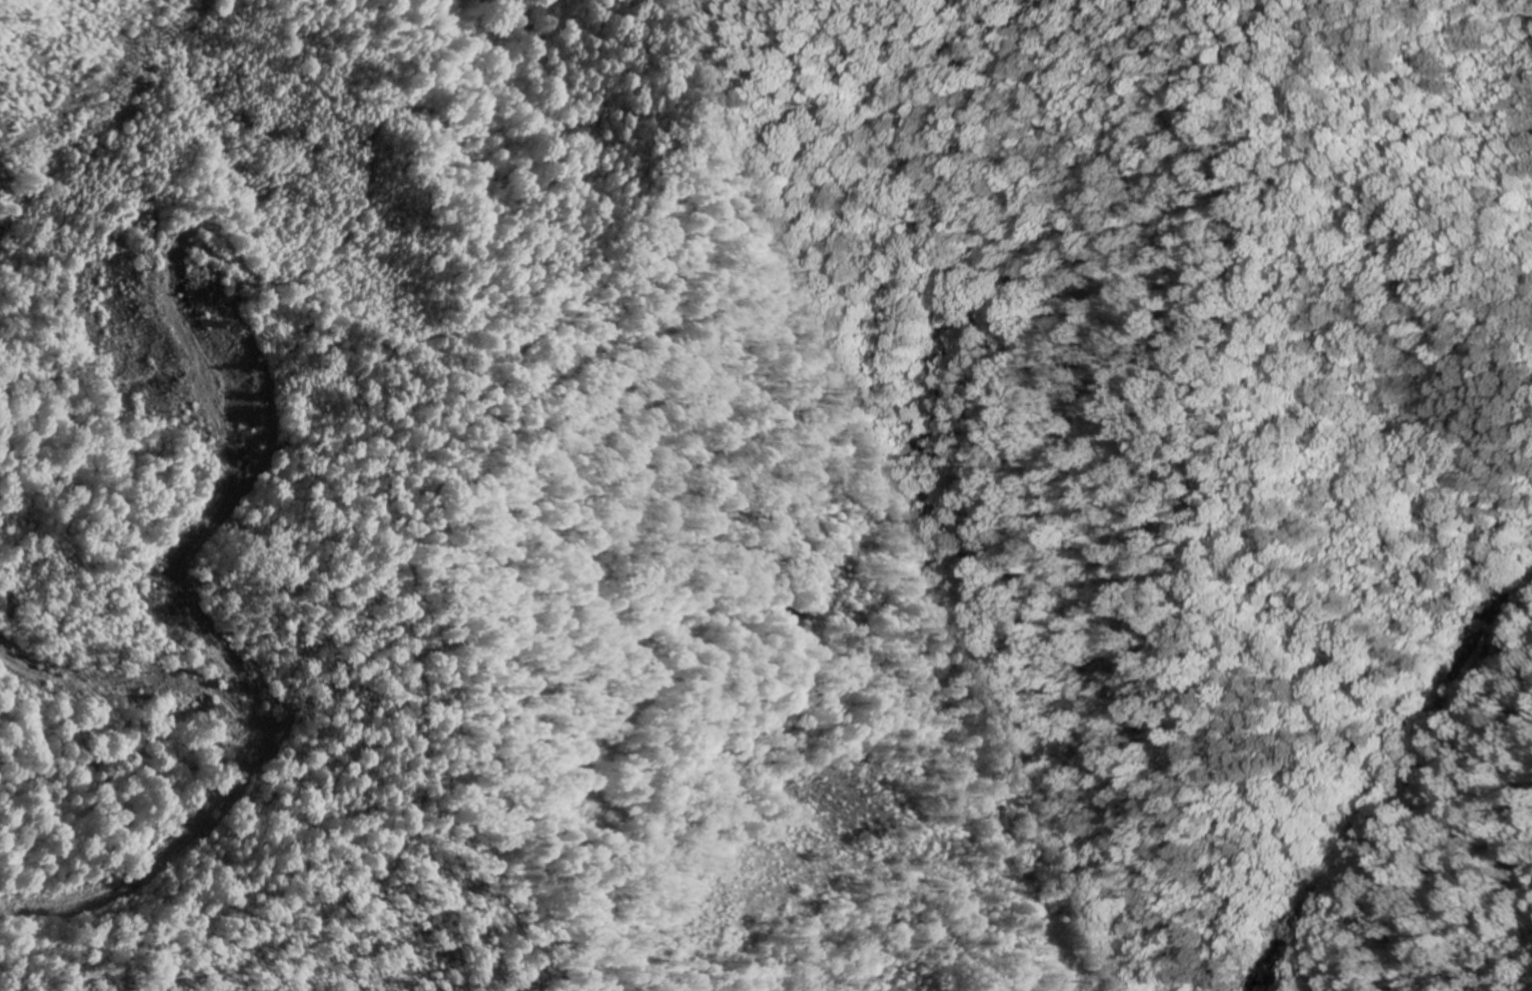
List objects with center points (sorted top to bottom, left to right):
road: (1478, 492)

